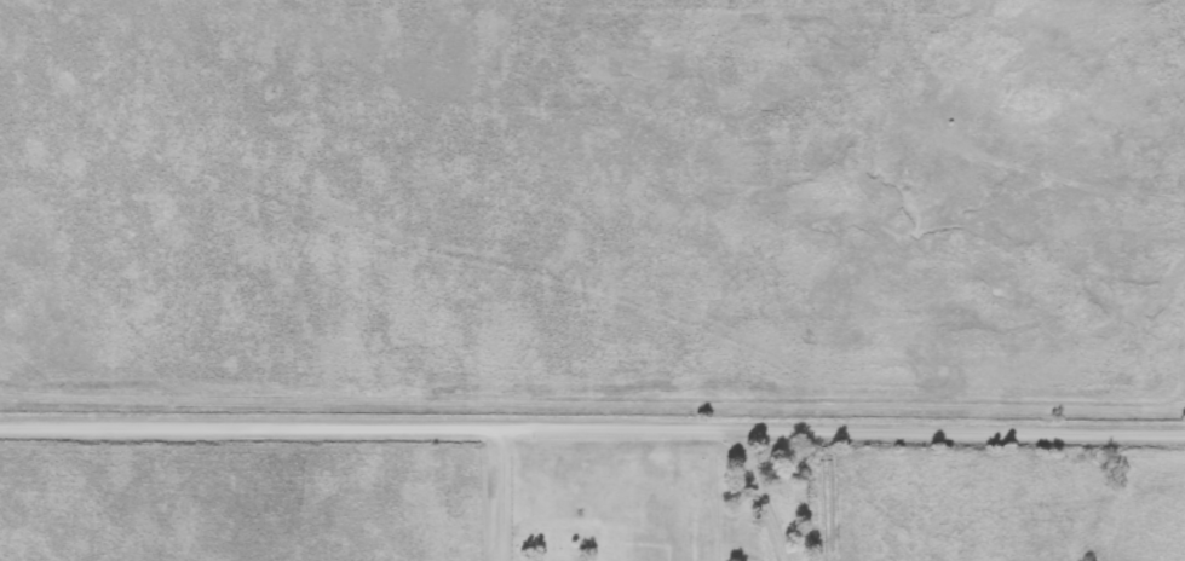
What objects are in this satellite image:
road: (592, 426)

